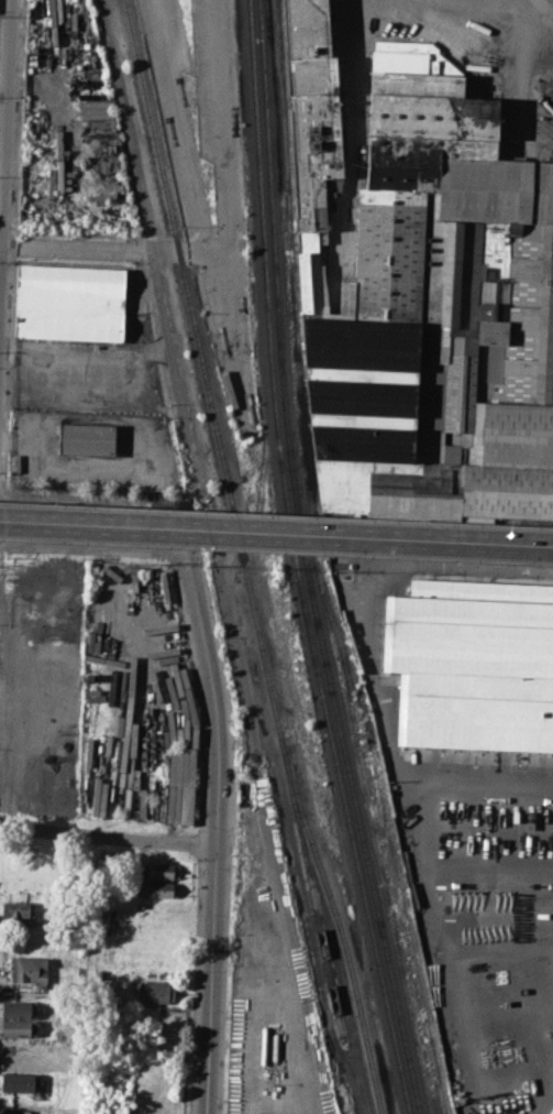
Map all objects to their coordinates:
road: (4, 92)
building: (543, 98)
building: (312, 112)
building: (496, 189)
road: (147, 212)
road: (117, 249)
building: (421, 292)
building: (69, 302)
railway: (204, 368)
building: (88, 438)
railway: (298, 450)
building: (479, 469)
road: (276, 534)
road: (90, 545)
railway: (295, 561)
railway: (305, 561)
building: (471, 660)
road: (219, 721)
road: (108, 839)
railway: (383, 842)
building: (161, 871)
railway: (398, 873)
road: (431, 885)
railway: (311, 886)
building: (157, 888)
building: (18, 913)
railway: (339, 924)
railway: (395, 944)
building: (30, 969)
building: (155, 992)
building: (19, 1007)
building: (19, 1027)
building: (21, 1048)
building: (21, 1082)
building: (14, 1111)

